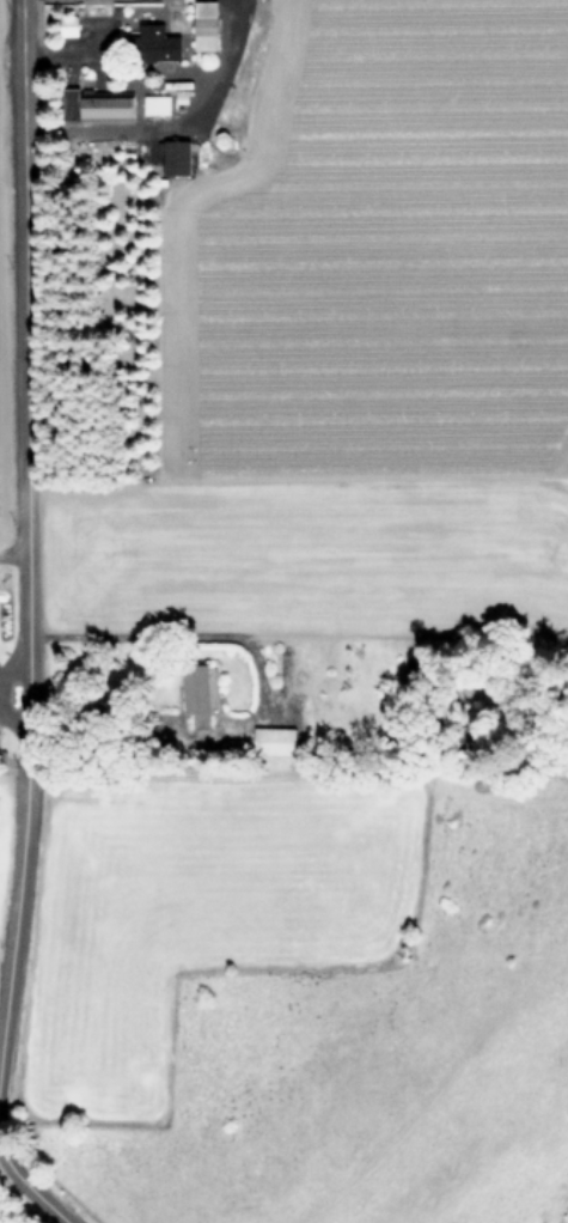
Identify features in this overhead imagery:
building: (202, 24)
building: (154, 41)
road: (65, 47)
building: (92, 102)
building: (154, 103)
road: (173, 127)
building: (172, 156)
road: (24, 517)
crop: (310, 613)
road: (199, 637)
building: (193, 688)
building: (270, 740)
crop: (0, 777)
road: (30, 1189)

